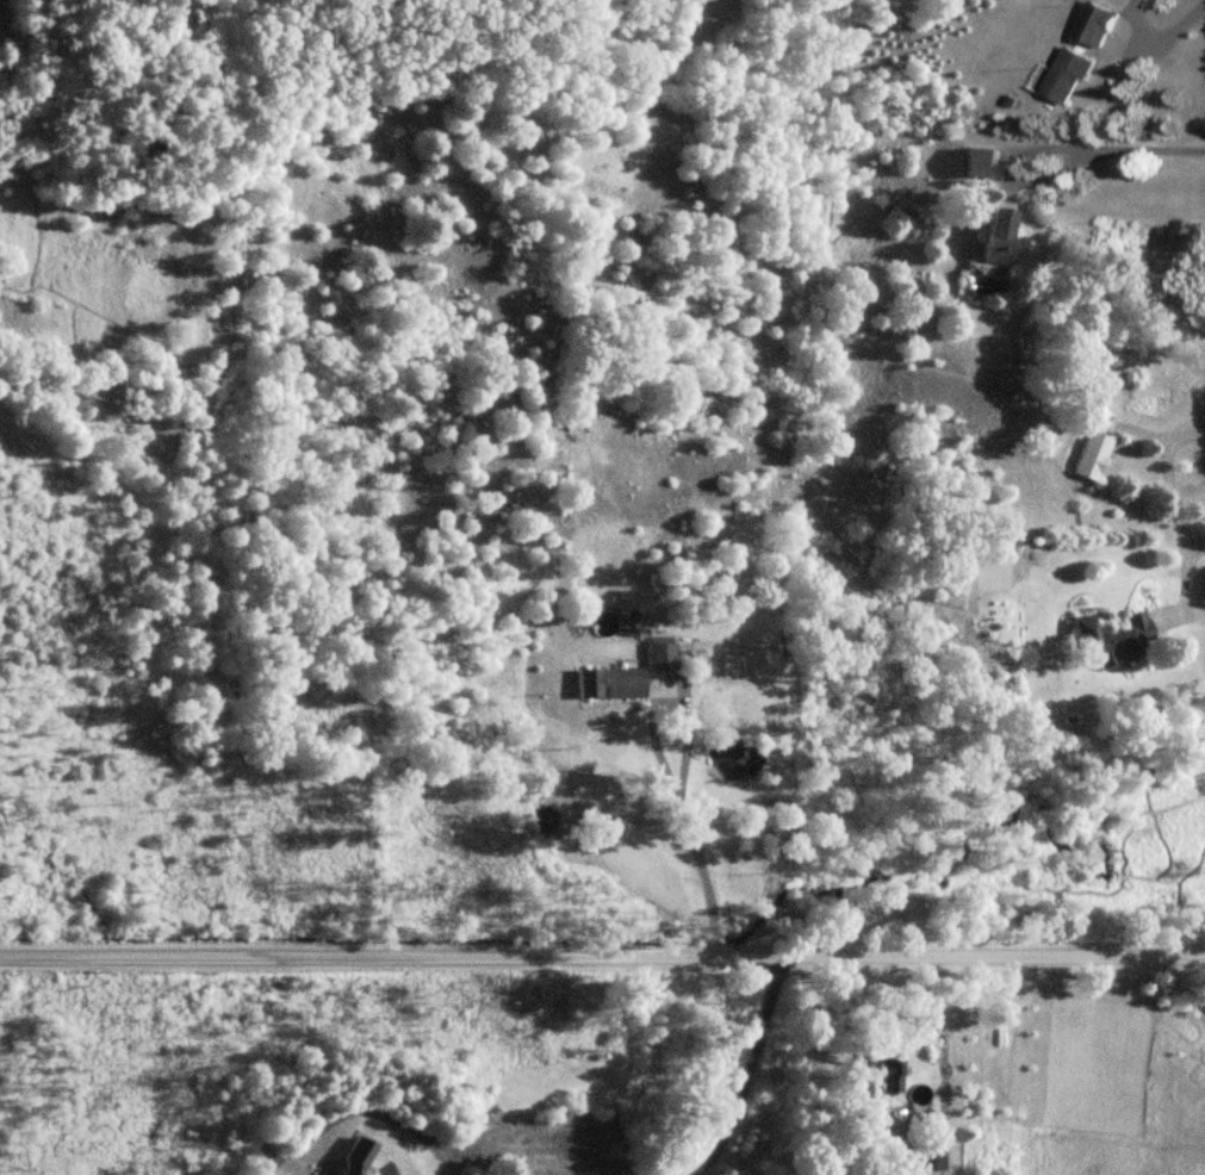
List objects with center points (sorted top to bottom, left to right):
building: (1093, 24)
road: (1162, 35)
building: (1066, 76)
road: (1120, 151)
building: (977, 163)
building: (992, 237)
building: (1089, 456)
road: (1173, 497)
road: (1181, 611)
building: (1106, 641)
building: (664, 655)
building: (614, 684)
road: (661, 765)
road: (602, 957)
road: (805, 1017)
road: (743, 1071)
building: (887, 1071)
road: (876, 1105)
road: (812, 1130)

